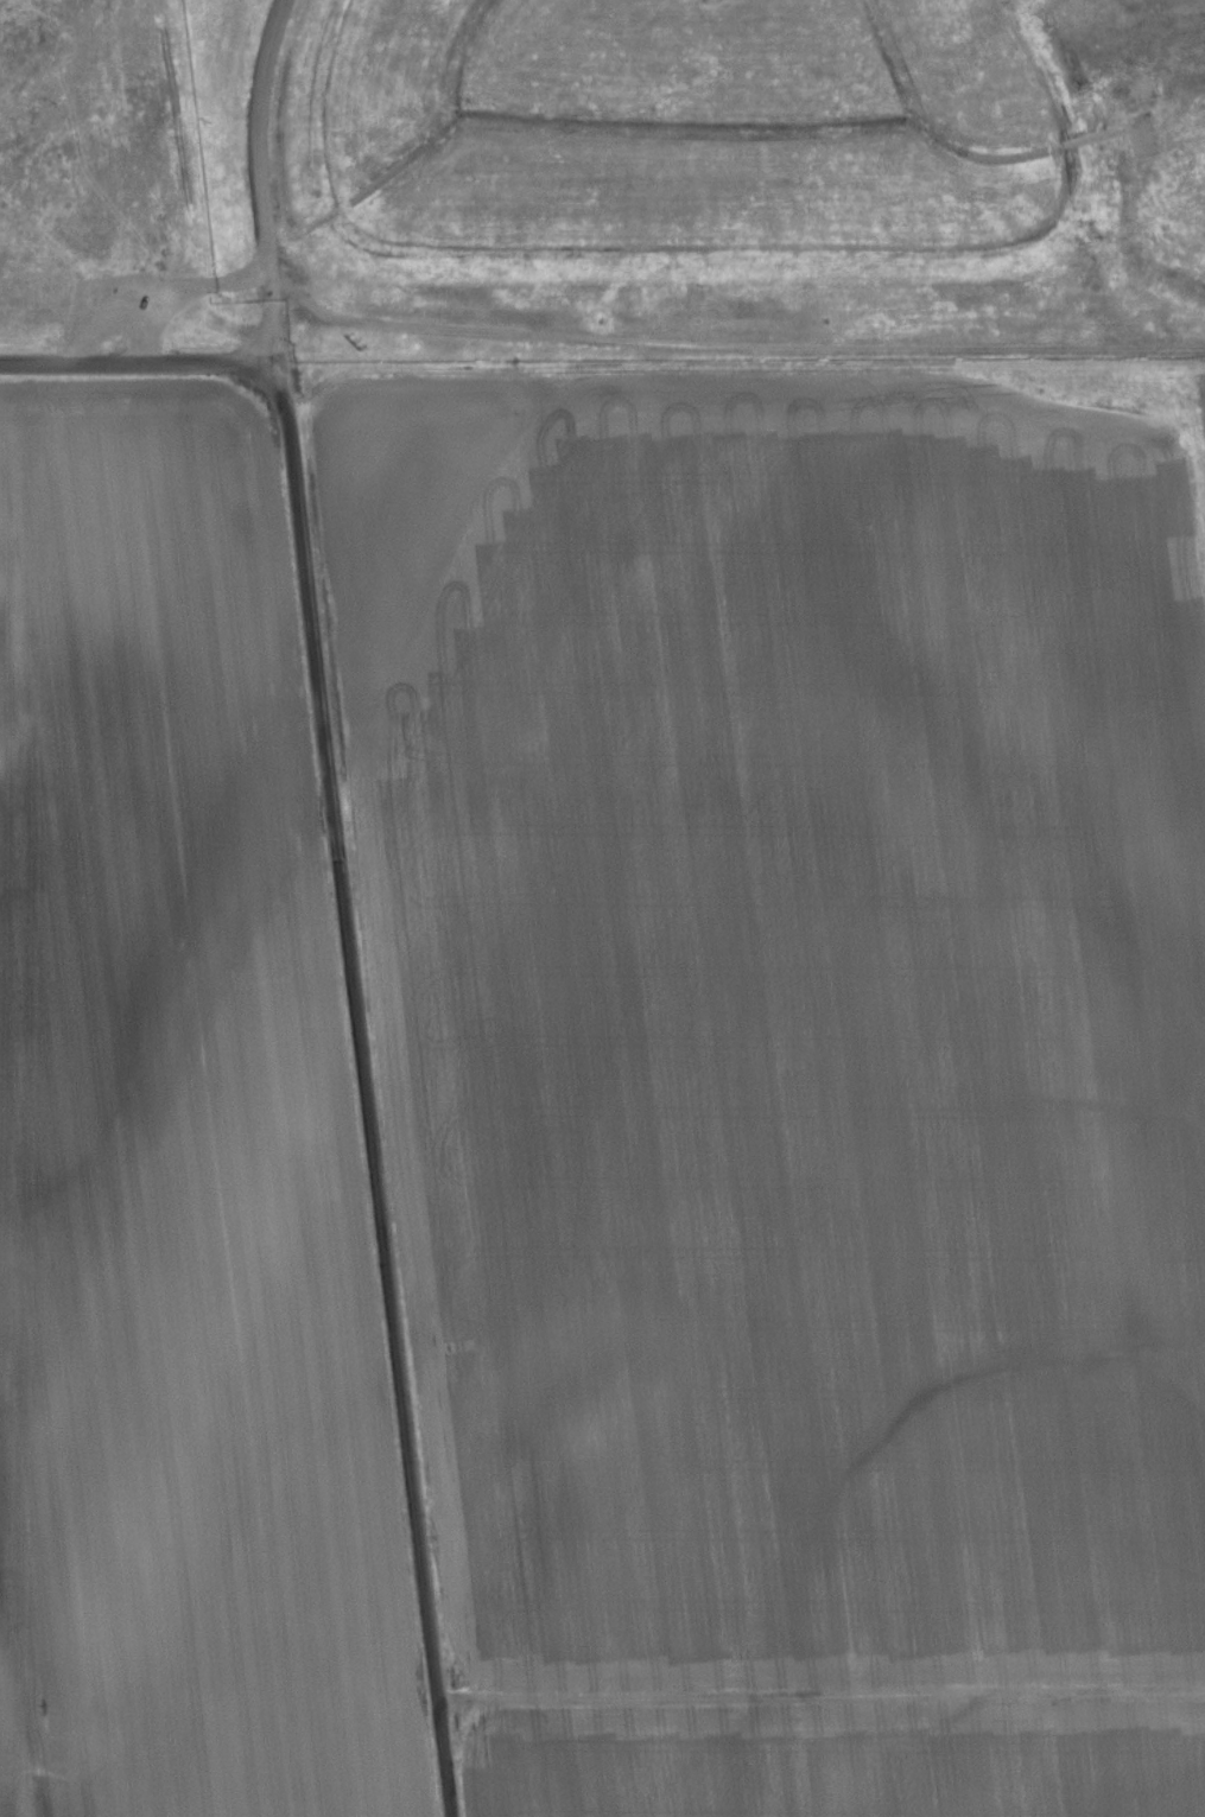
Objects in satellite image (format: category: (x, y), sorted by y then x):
road: (266, 242)
road: (269, 313)
road: (142, 333)
road: (133, 362)
road: (366, 1086)
road: (822, 1694)

